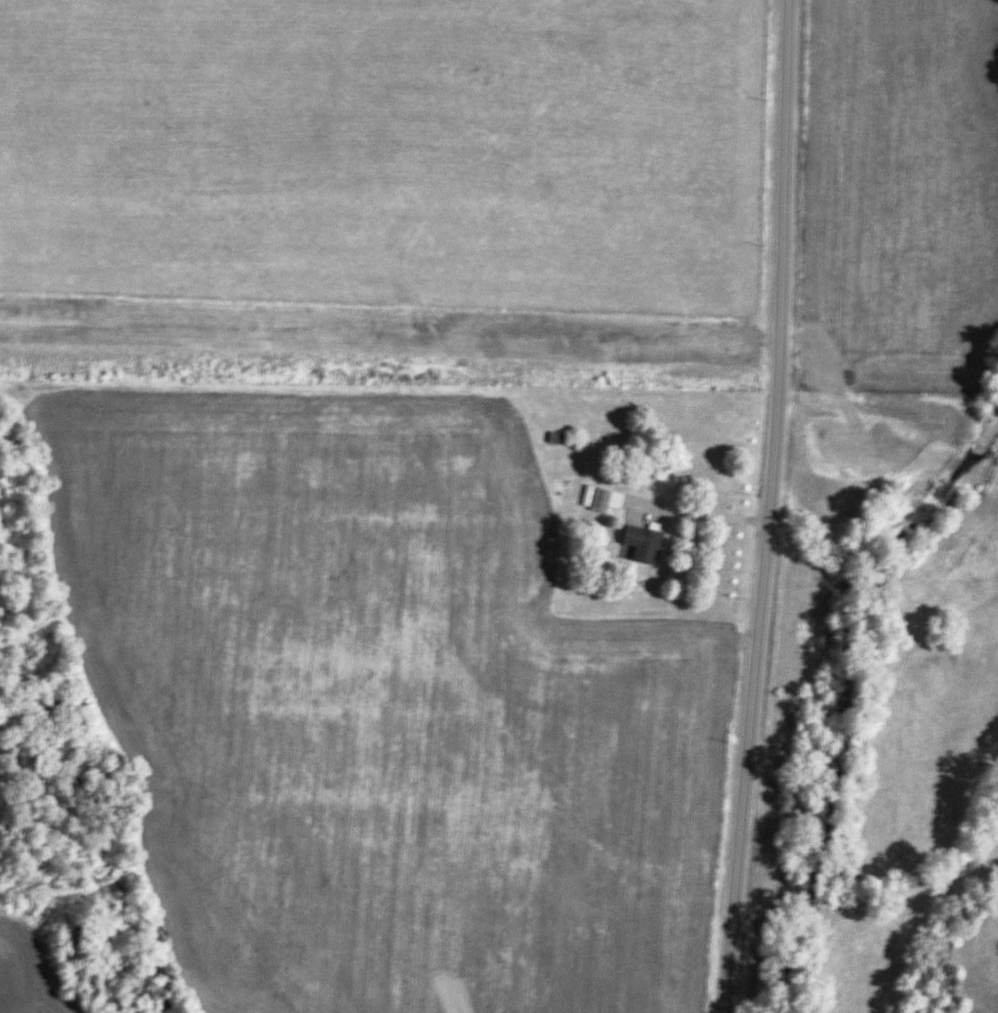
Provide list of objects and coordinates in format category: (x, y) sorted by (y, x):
building: (557, 438)
building: (599, 499)
road: (768, 507)
building: (641, 543)

